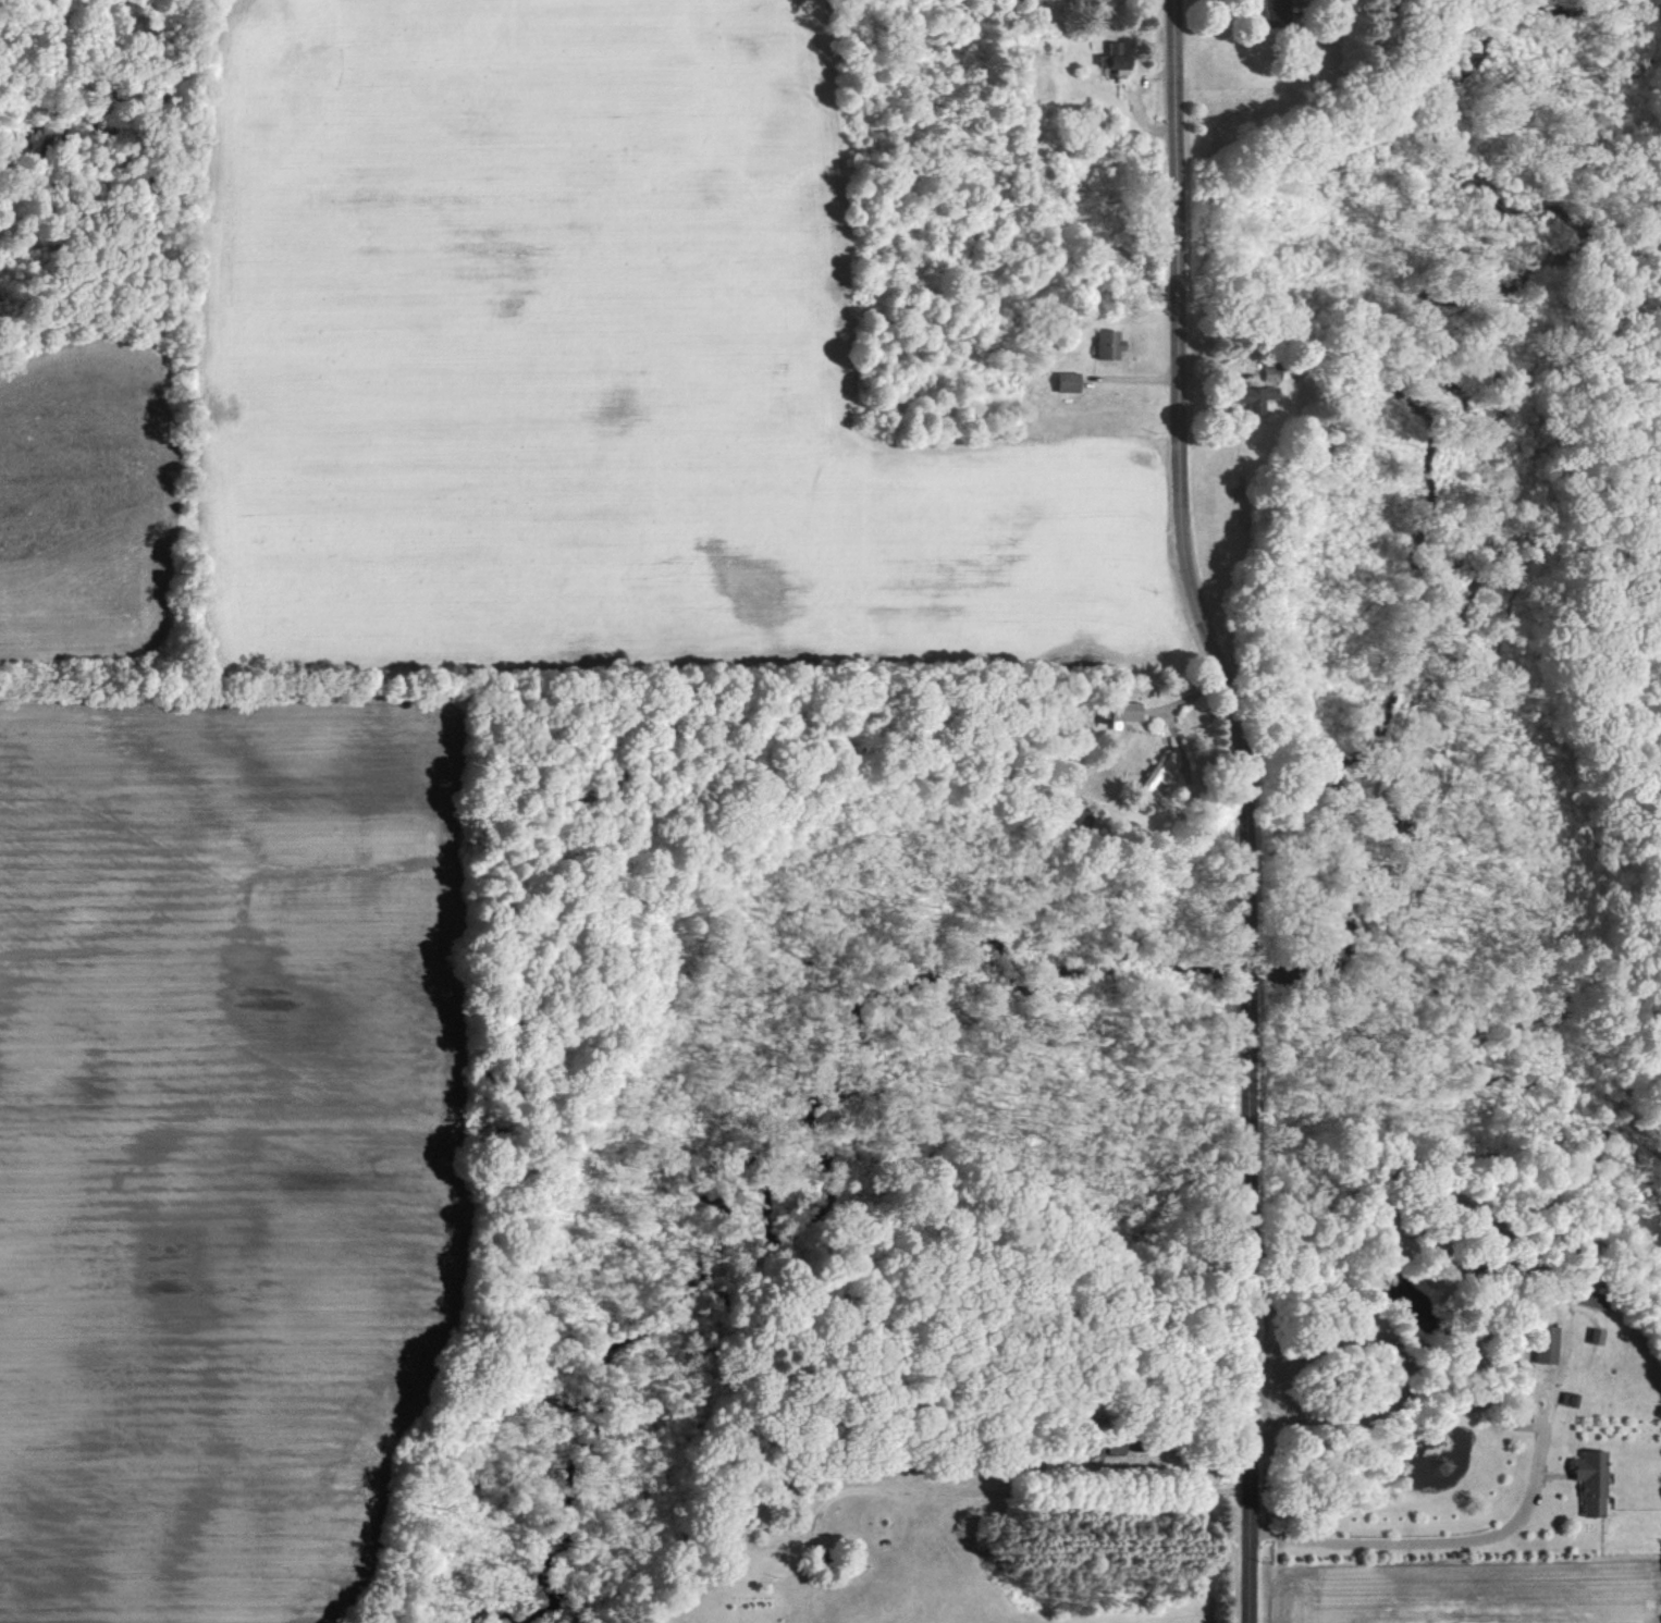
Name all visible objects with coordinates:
building: (1276, 11)
building: (1116, 57)
building: (1109, 344)
building: (1070, 381)
building: (1256, 397)
building: (1118, 713)
road: (1245, 806)
crop: (224, 1147)
building: (1548, 1343)
building: (1114, 1446)
building: (1594, 1480)
road: (979, 1491)
road: (1477, 1533)

